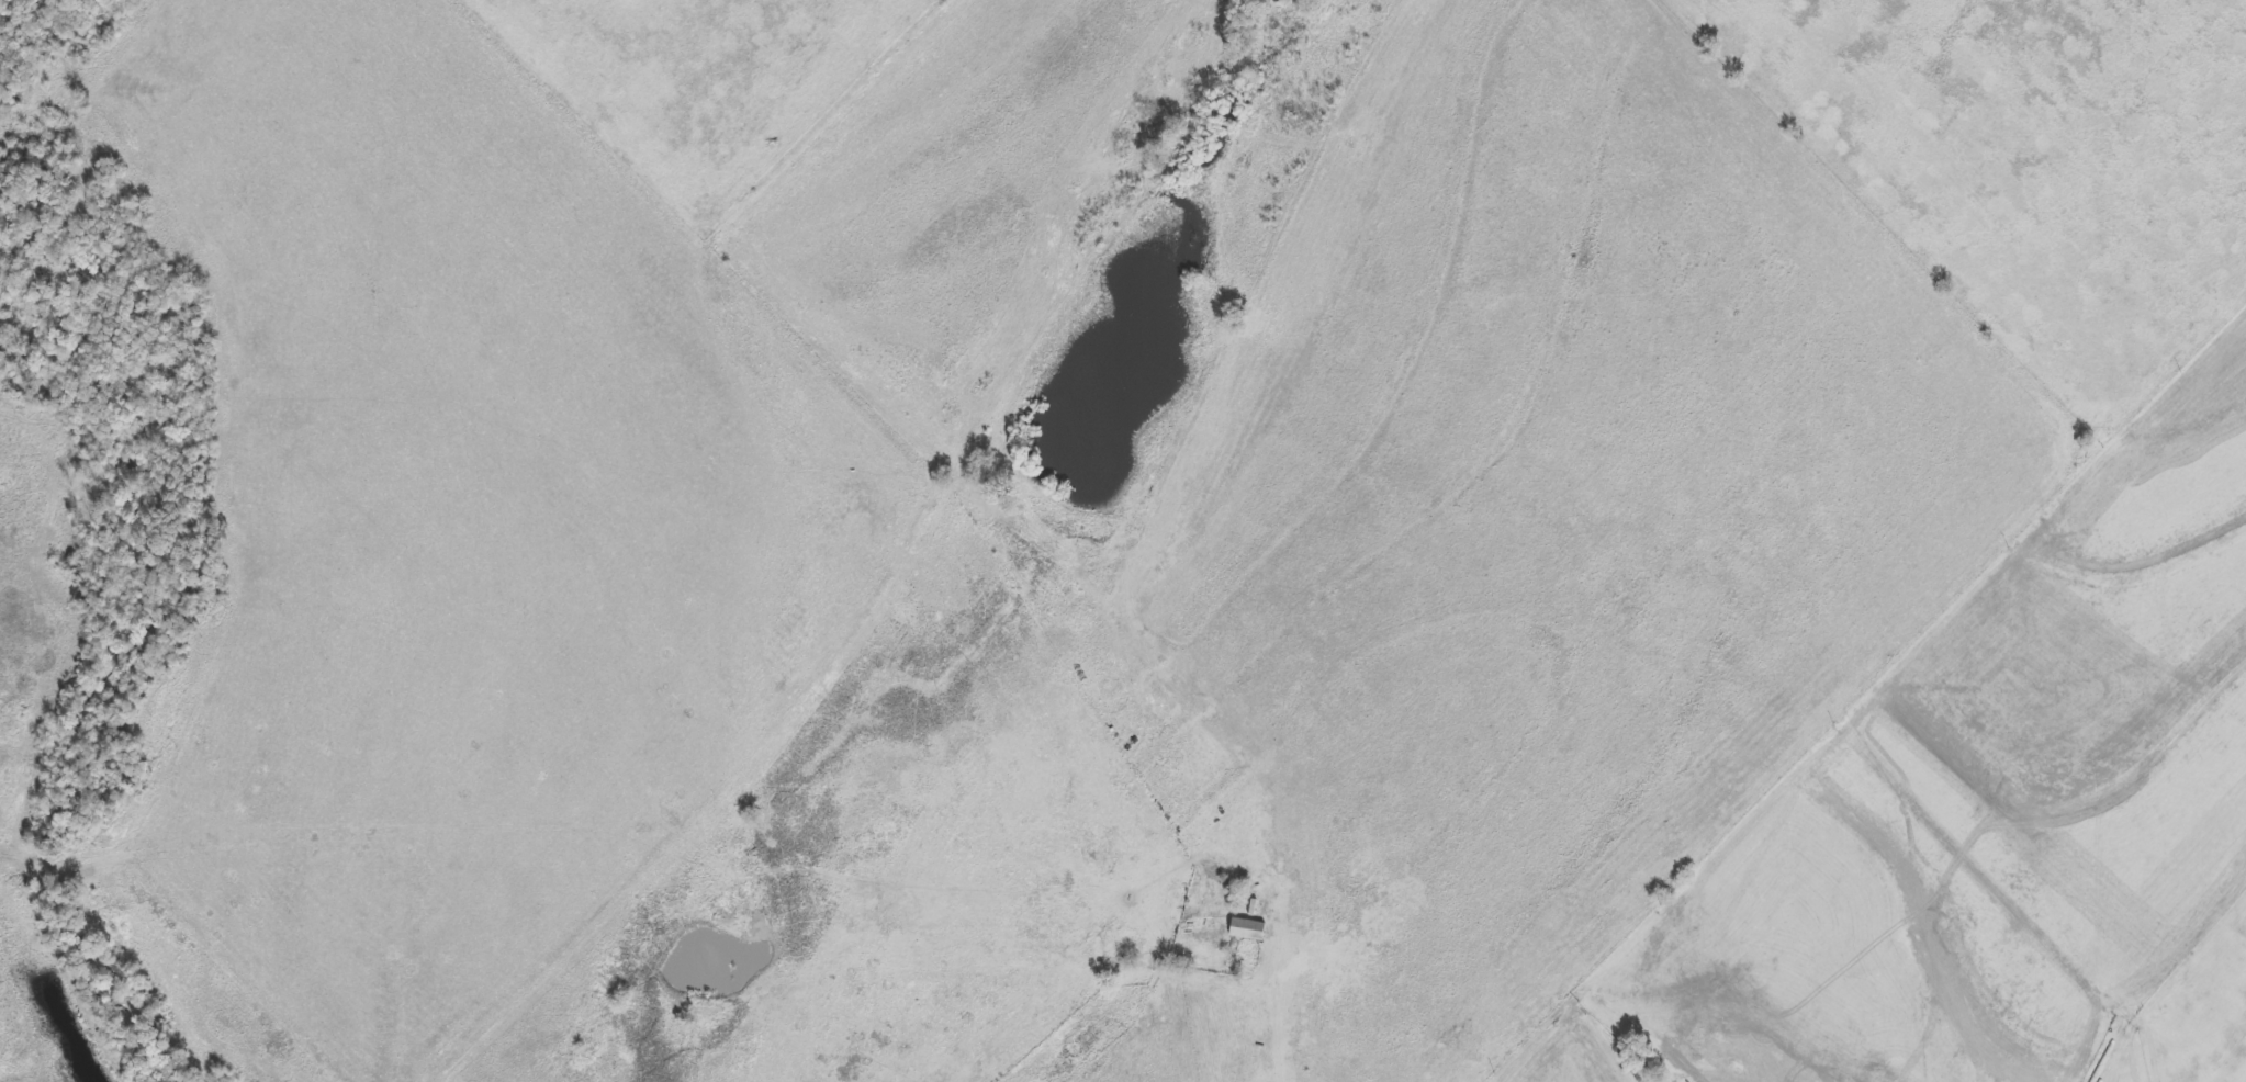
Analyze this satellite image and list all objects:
building: (1247, 928)
road: (1284, 1026)

